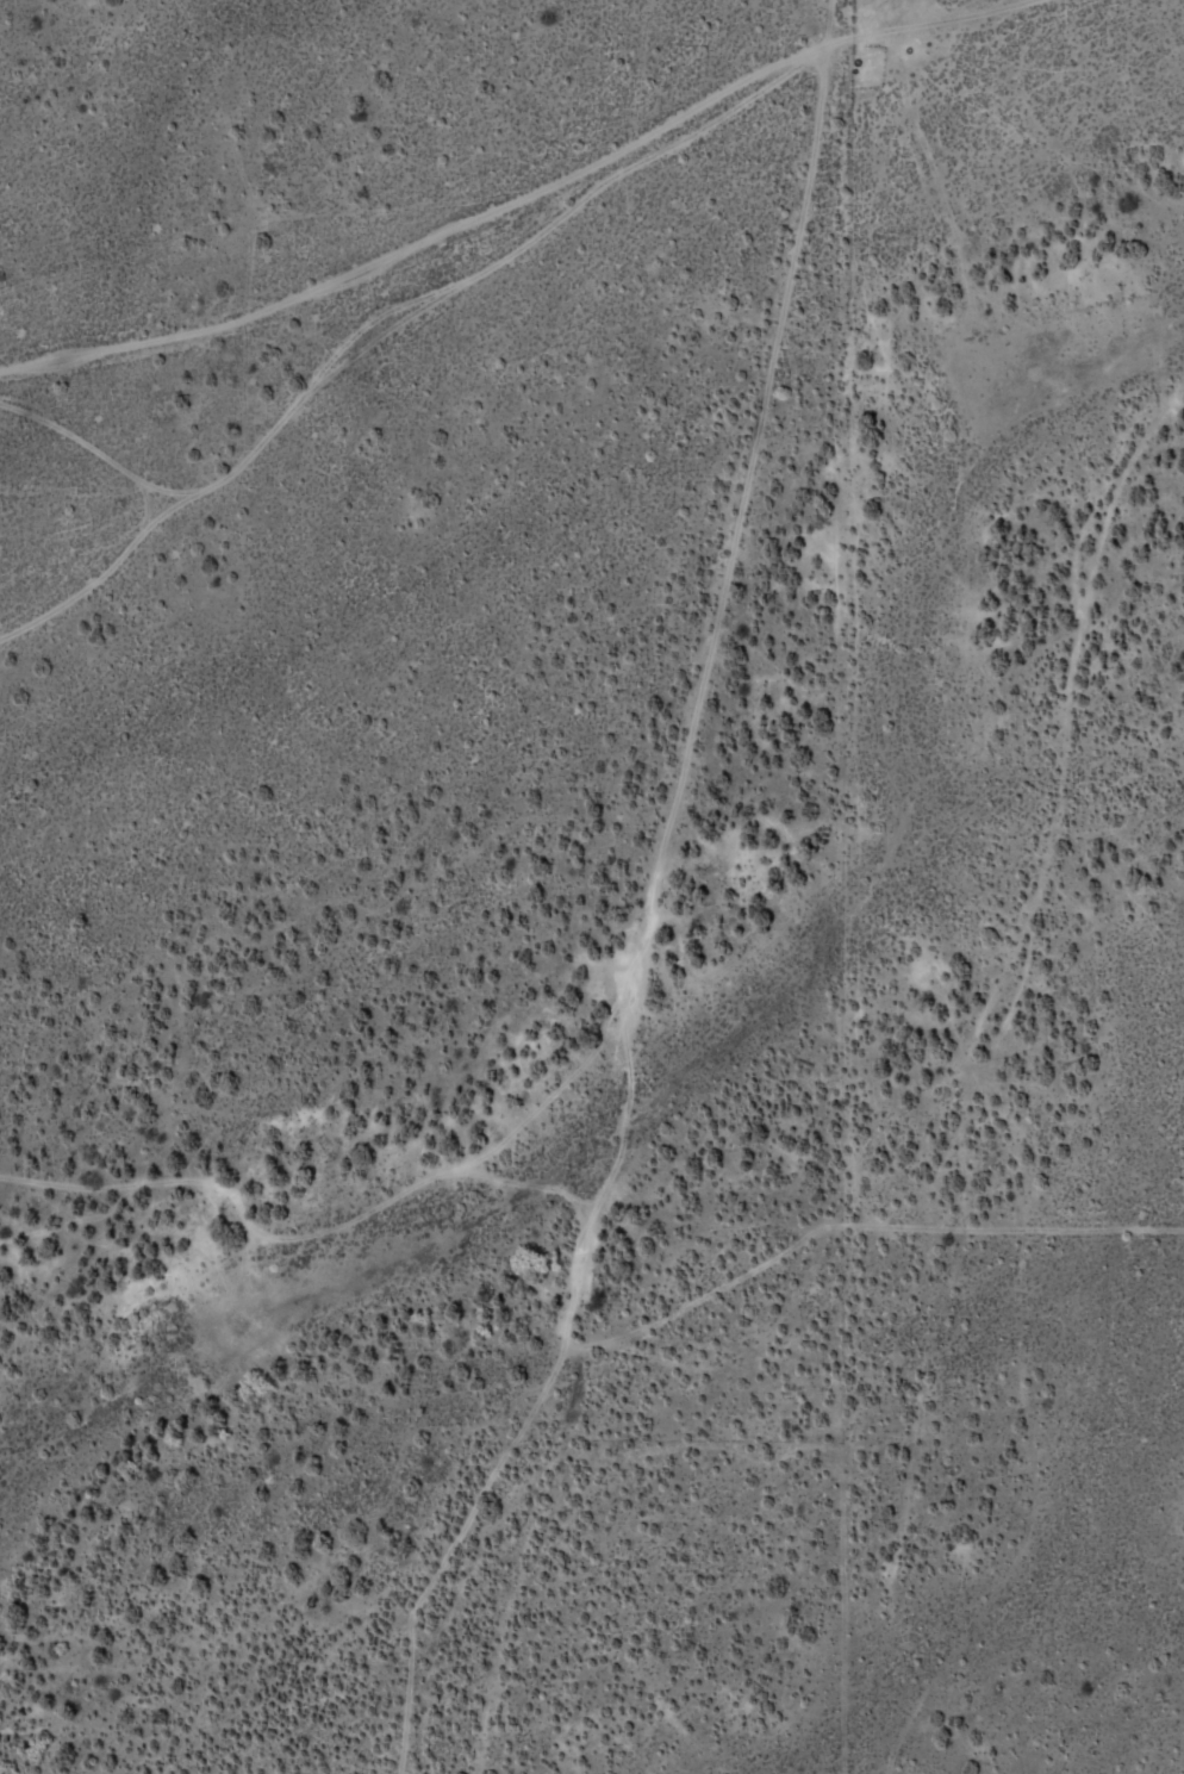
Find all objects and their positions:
road: (755, 428)
road: (987, 1083)
road: (71, 1220)
road: (561, 1328)

